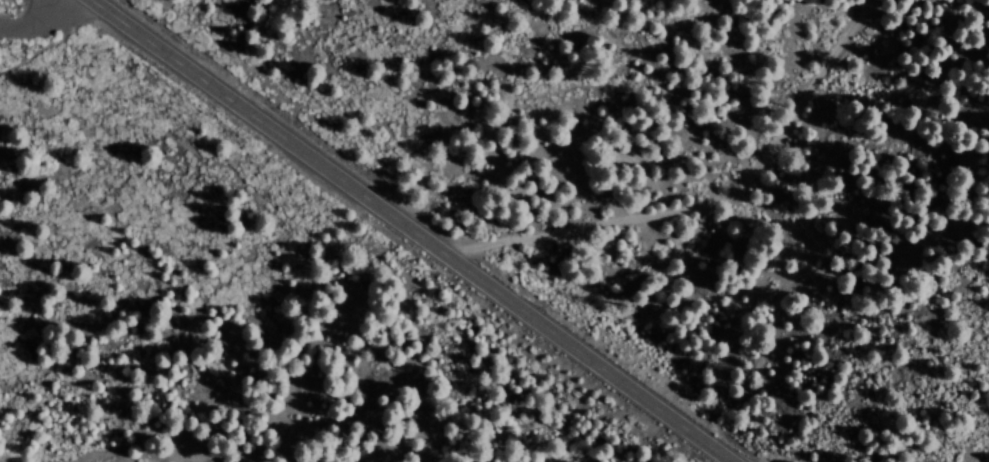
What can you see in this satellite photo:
road: (30, 21)
road: (711, 176)
road: (405, 230)

